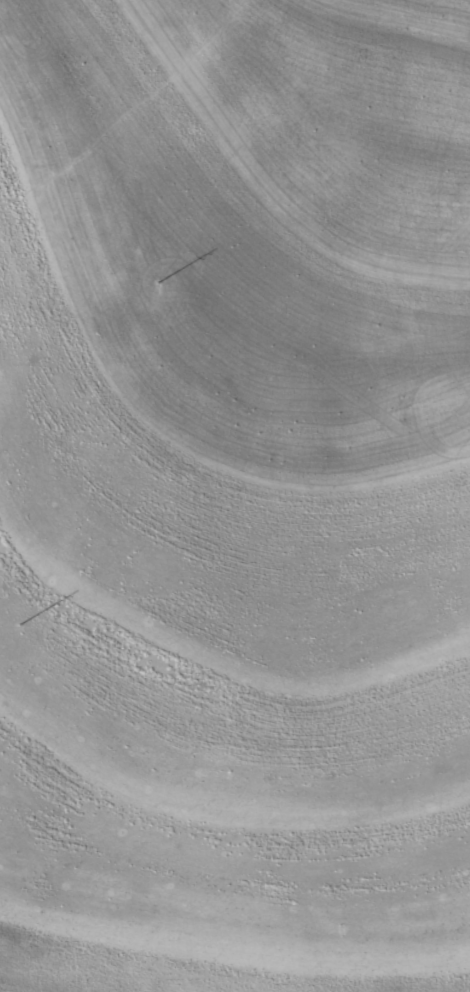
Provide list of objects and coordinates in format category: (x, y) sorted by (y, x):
power tower: (155, 287)
power tower: (17, 629)

